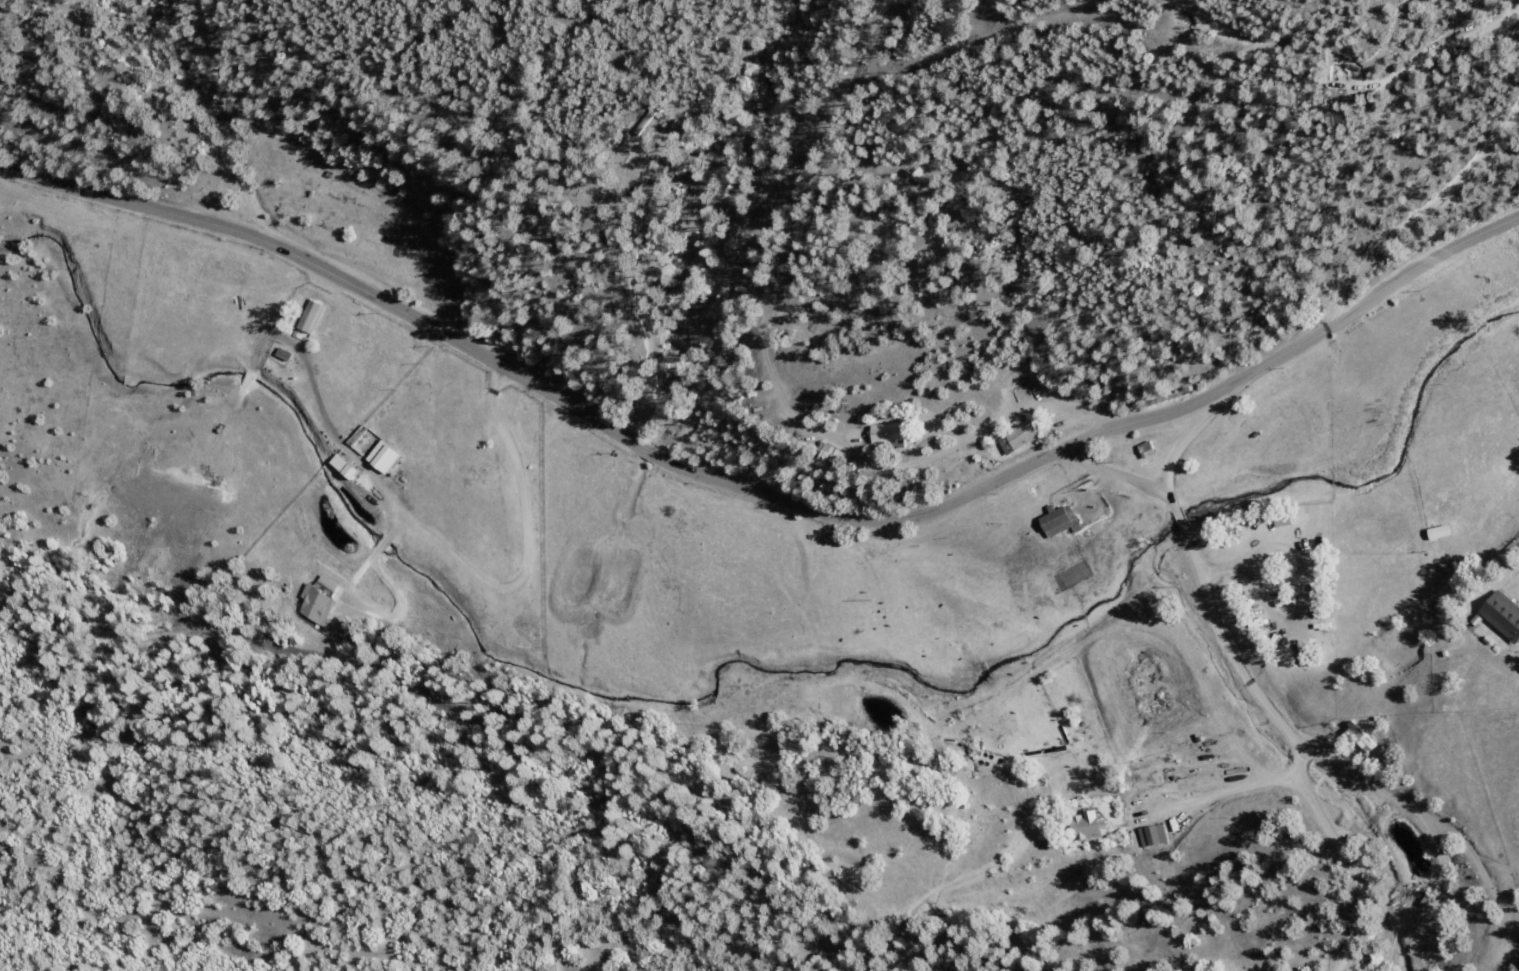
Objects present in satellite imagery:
road: (1361, 157)
road: (1204, 418)
building: (889, 437)
building: (1017, 439)
building: (1146, 451)
building: (383, 457)
building: (343, 467)
road: (762, 492)
building: (1059, 523)
building: (1503, 617)
road: (1248, 685)
building: (1361, 738)
road: (1404, 819)
building: (1086, 826)
building: (1152, 836)

